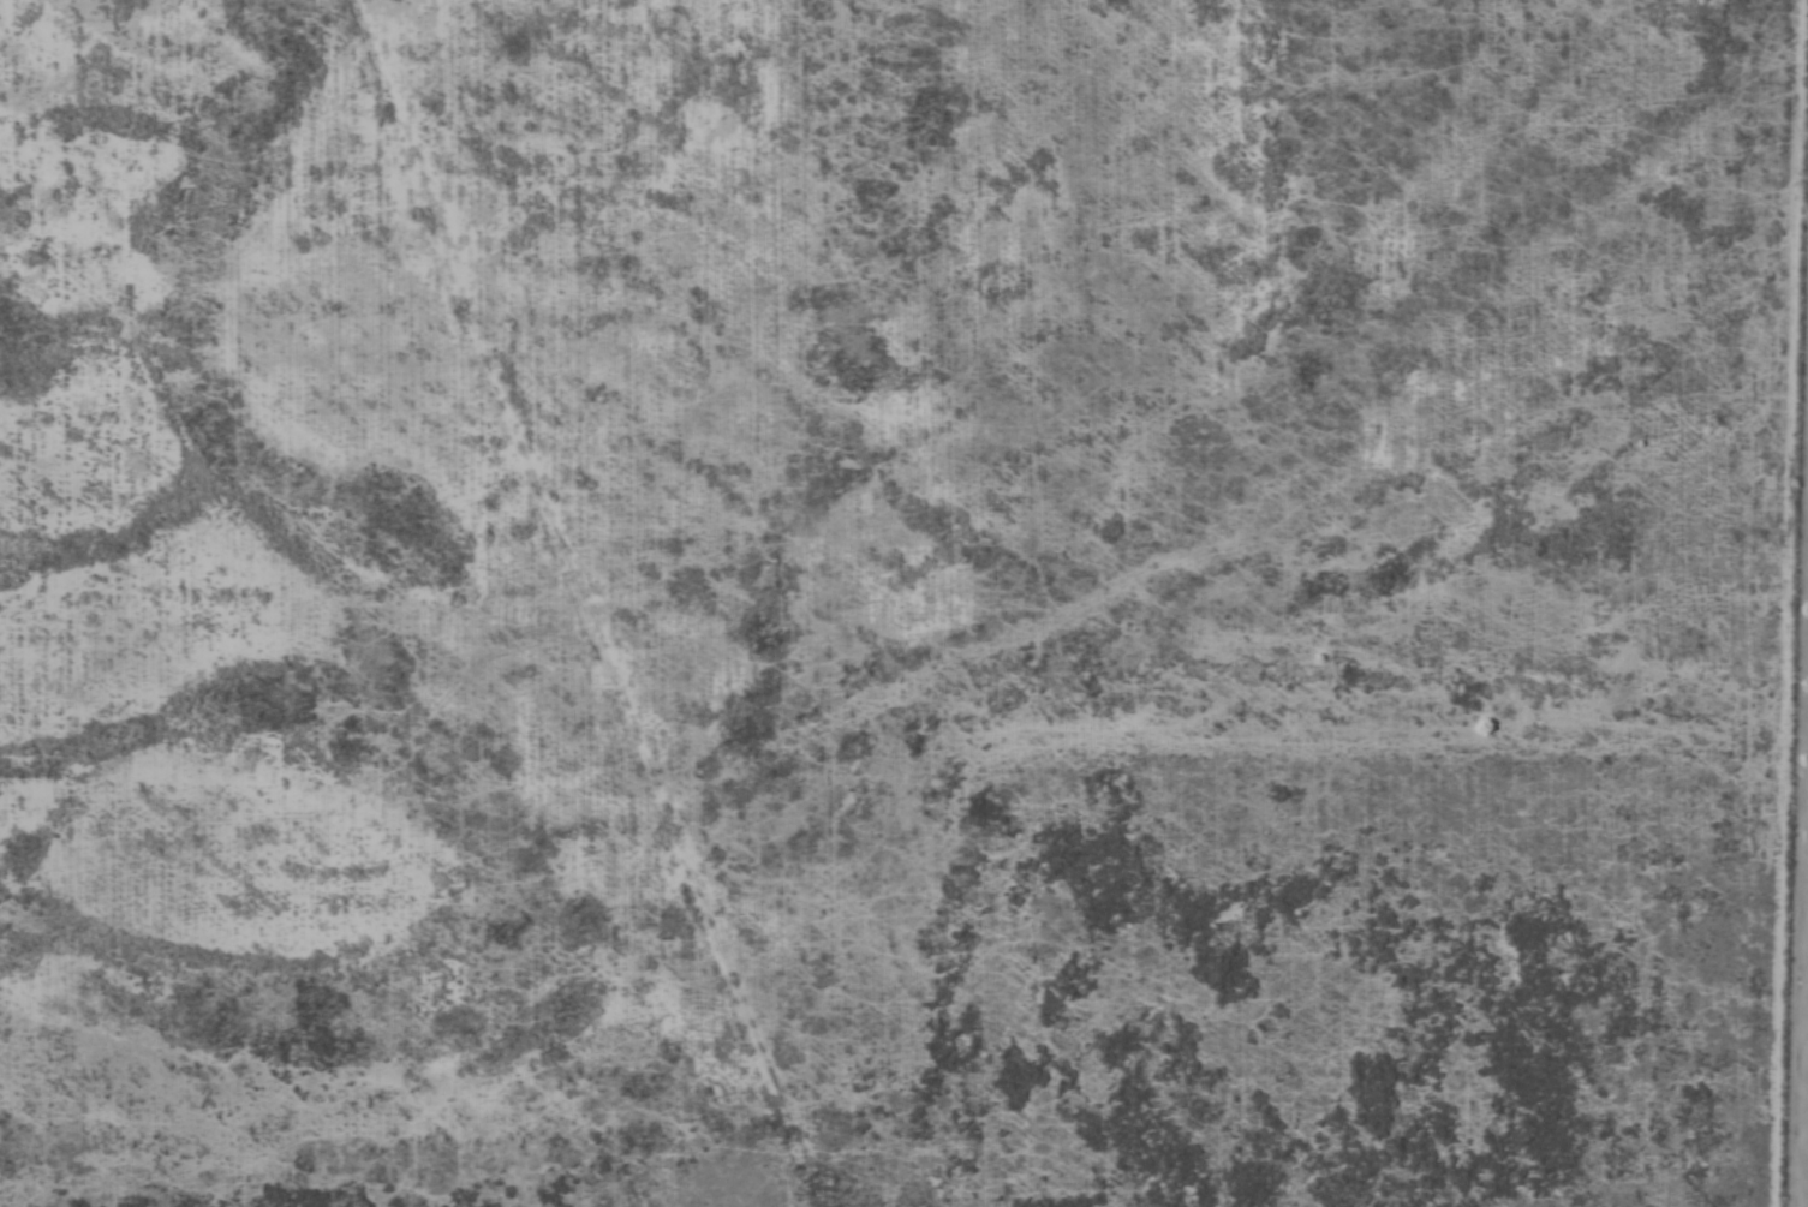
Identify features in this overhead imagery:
crop: (1248, 972)

